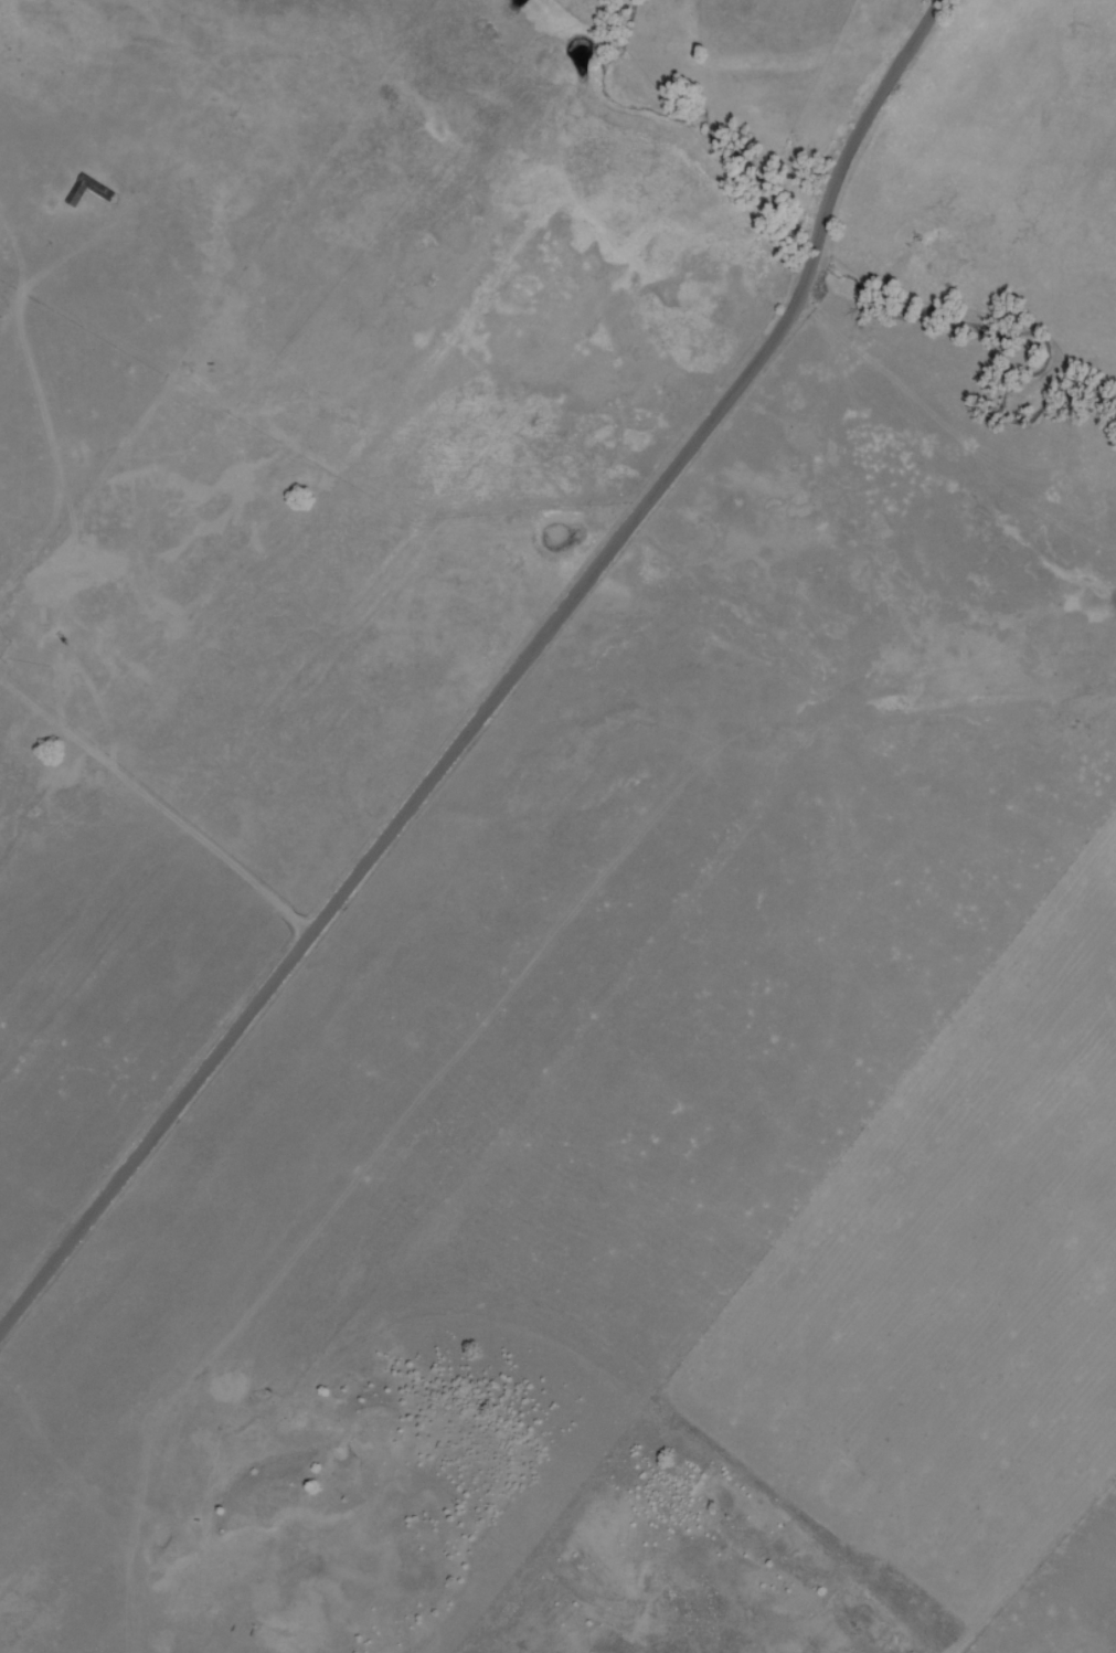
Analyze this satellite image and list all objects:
building: (99, 191)
road: (498, 700)

